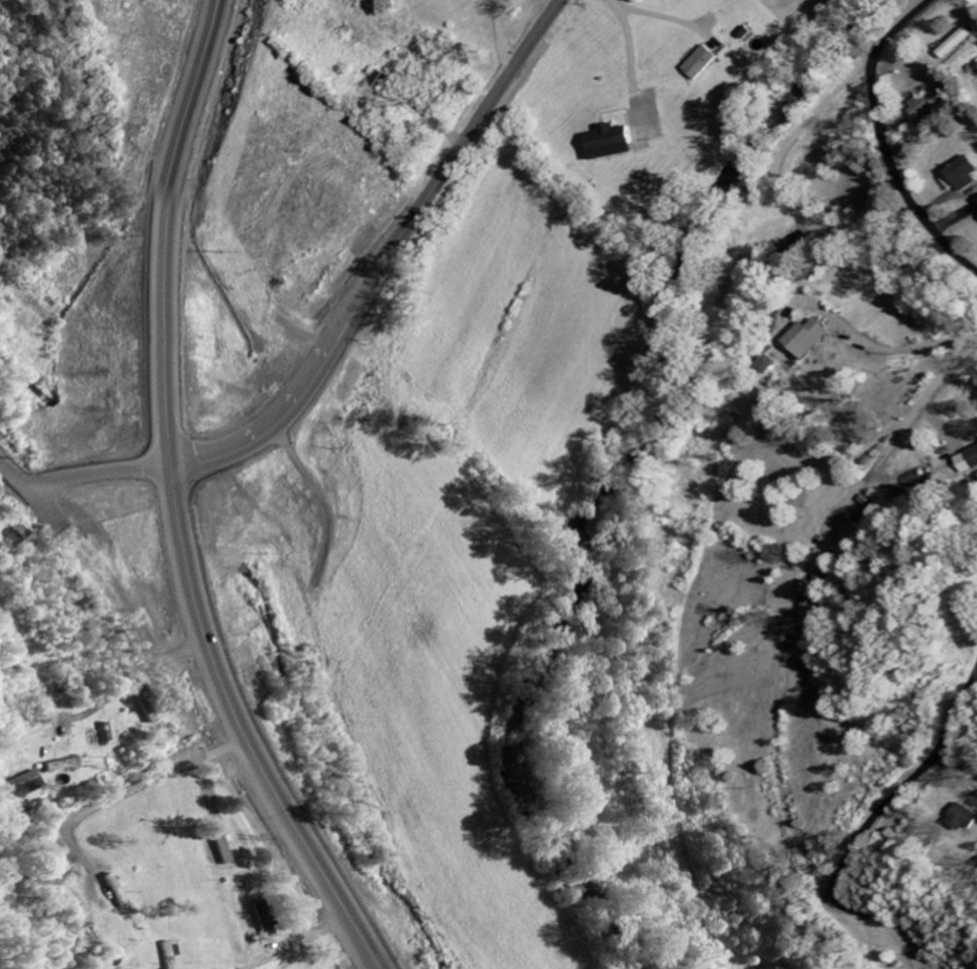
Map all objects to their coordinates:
building: (953, 44)
building: (703, 63)
building: (925, 100)
building: (618, 142)
road: (880, 142)
building: (966, 174)
road: (819, 254)
road: (386, 258)
building: (809, 338)
road: (925, 387)
building: (968, 462)
road: (79, 475)
road: (178, 504)
building: (18, 539)
building: (140, 706)
building: (100, 733)
building: (57, 766)
road: (957, 769)
building: (19, 787)
building: (969, 817)
road: (866, 830)
building: (220, 851)
building: (112, 891)
building: (263, 920)
building: (163, 955)

